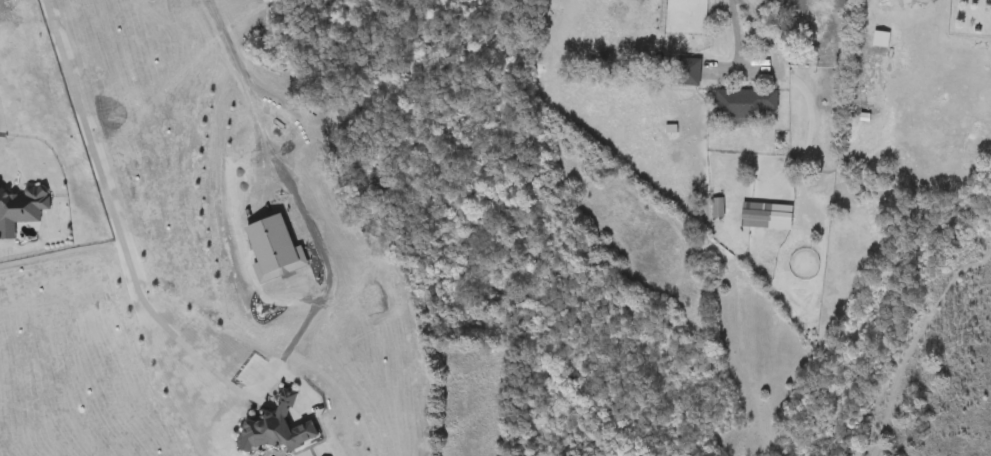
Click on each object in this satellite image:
building: (925, 0)
road: (761, 69)
building: (690, 73)
building: (745, 104)
road: (1, 120)
building: (718, 209)
building: (755, 217)
road: (247, 386)

